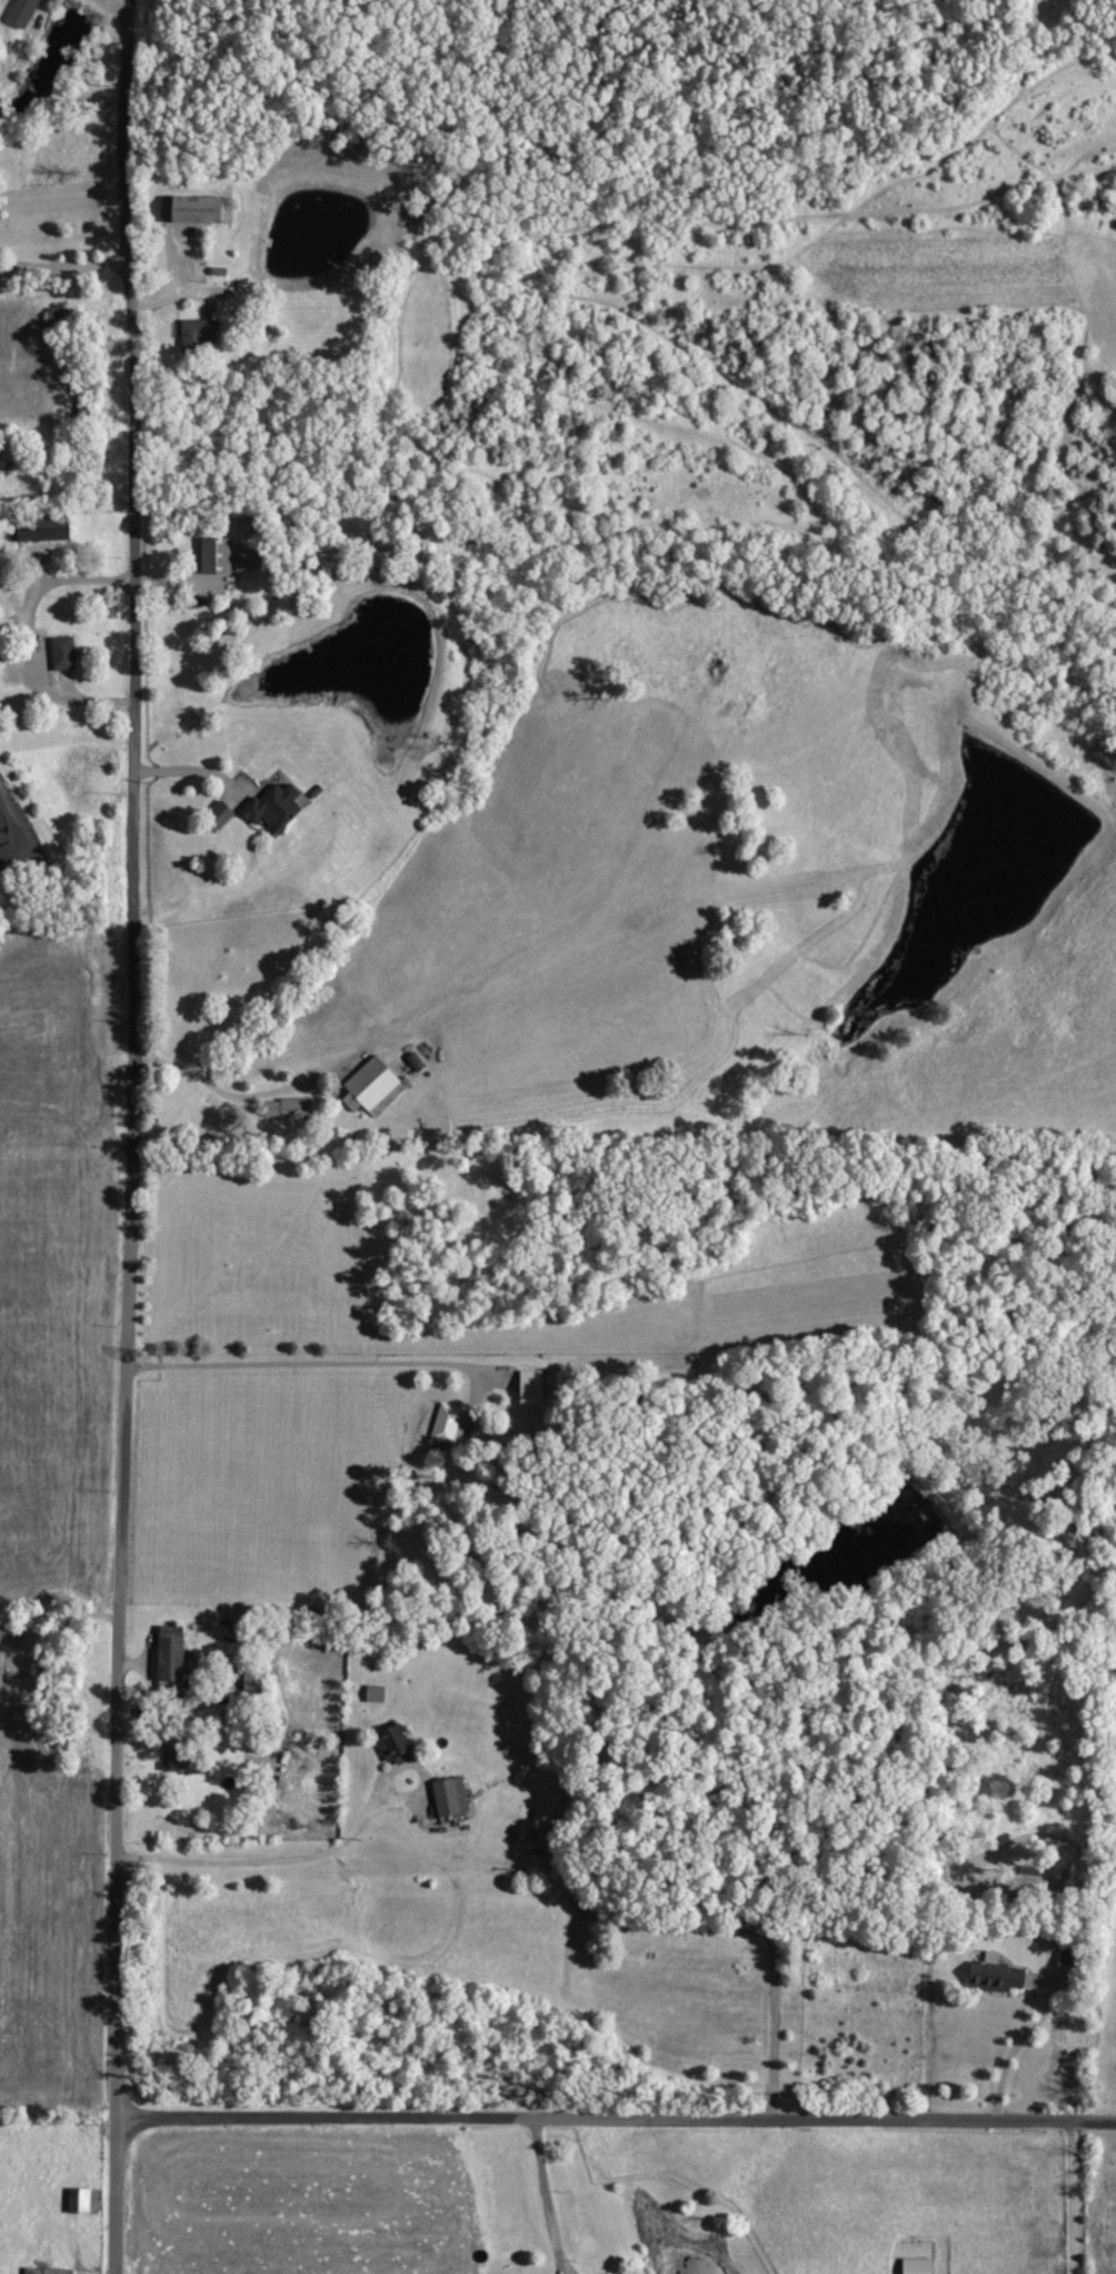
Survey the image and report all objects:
building: (27, 12)
building: (206, 209)
road: (61, 269)
building: (201, 334)
building: (52, 530)
building: (231, 557)
building: (66, 653)
road: (189, 778)
building: (277, 807)
building: (419, 1062)
building: (376, 1086)
road: (217, 1092)
building: (291, 1109)
road: (128, 1136)
road: (326, 1361)
building: (535, 1387)
building: (448, 1423)
building: (175, 1659)
building: (397, 1744)
building: (186, 1760)
building: (454, 1797)
road: (327, 1852)
road: (774, 2025)
road: (1025, 2041)
road: (616, 2119)
road: (546, 2196)
road: (1073, 2197)
building: (87, 2201)
building: (921, 2265)
building: (51, 2271)

